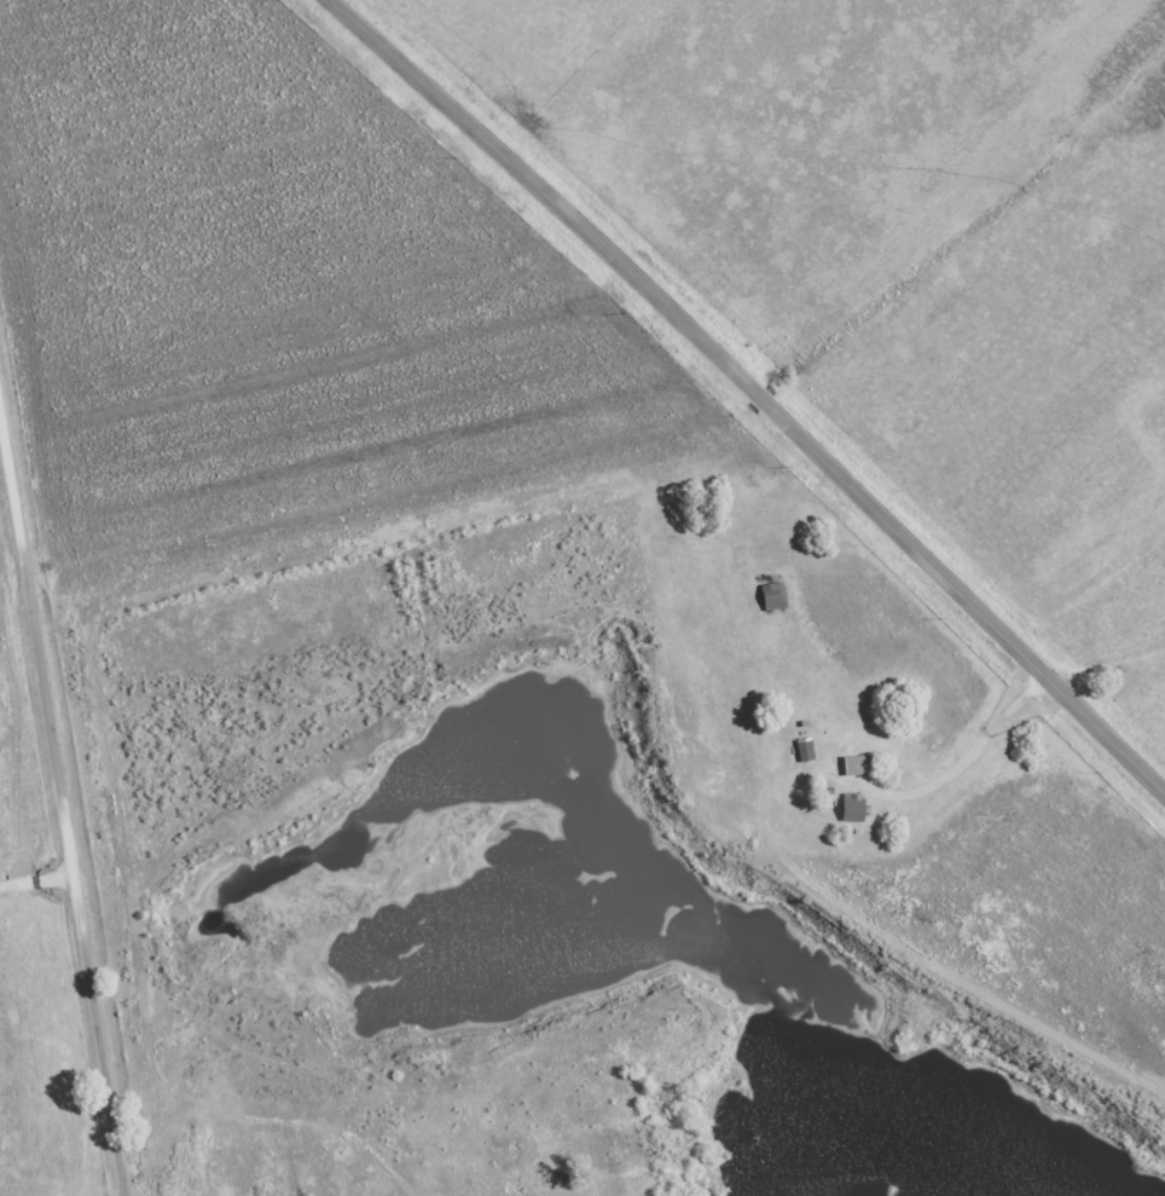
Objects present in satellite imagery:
road: (750, 392)
building: (769, 595)
building: (801, 749)
building: (852, 764)
road: (63, 804)
building: (848, 807)

